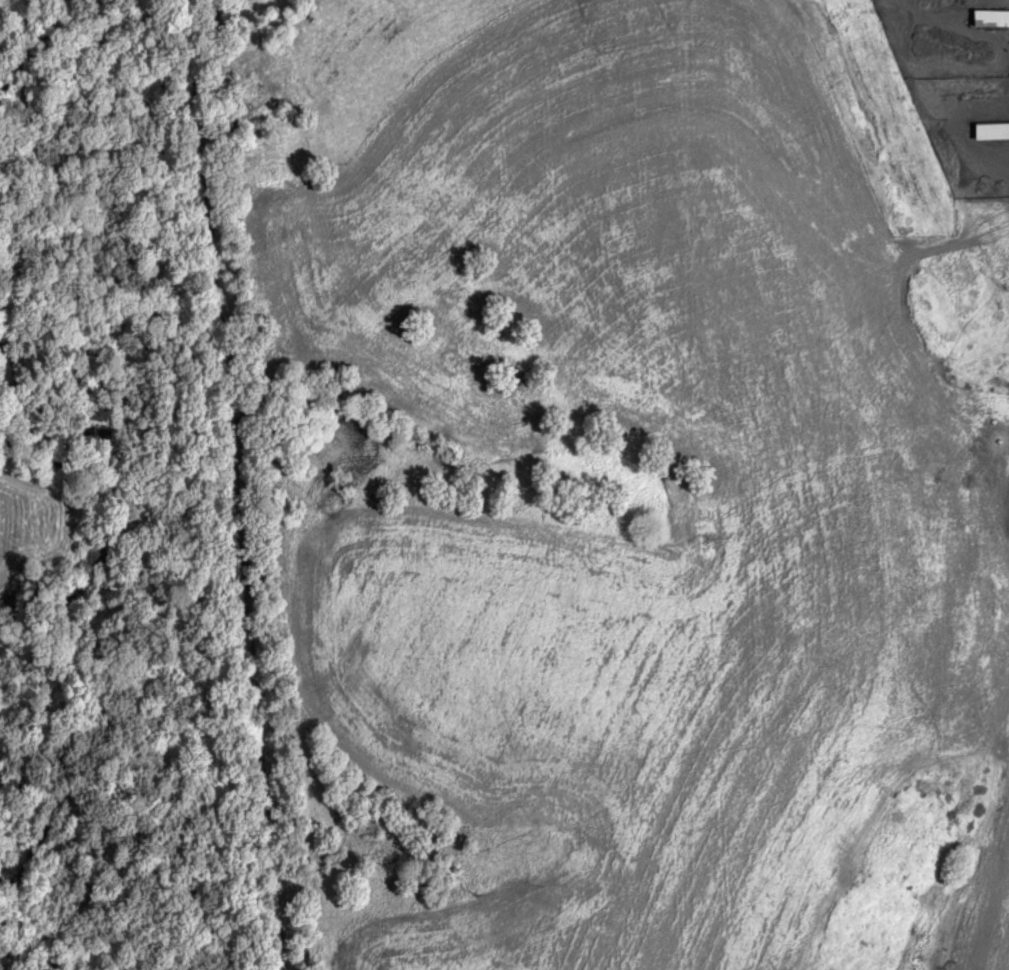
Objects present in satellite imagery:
building: (993, 19)
building: (993, 132)

